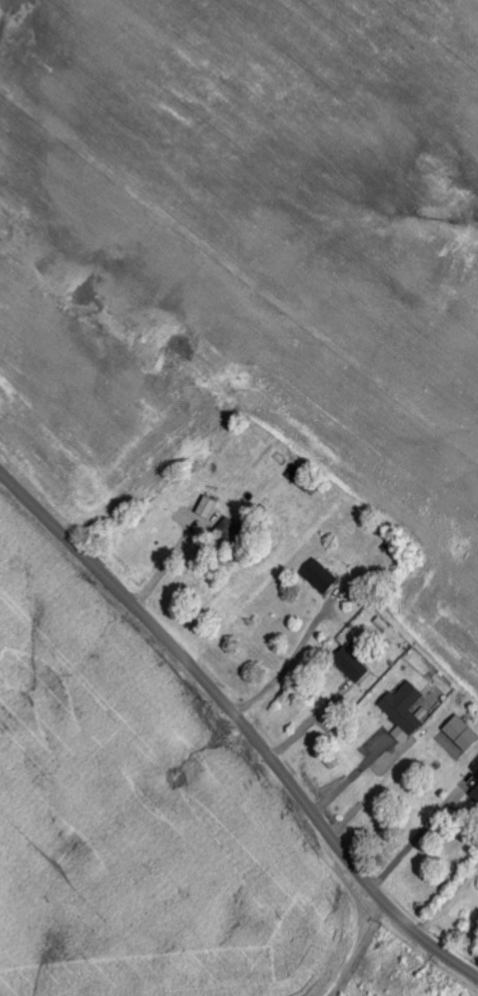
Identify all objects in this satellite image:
building: (210, 507)
road: (165, 568)
building: (323, 576)
building: (354, 665)
road: (286, 668)
building: (407, 707)
road: (241, 724)
road: (310, 724)
building: (464, 733)
building: (403, 735)
building: (476, 768)
road: (356, 775)
road: (383, 790)
road: (418, 839)

